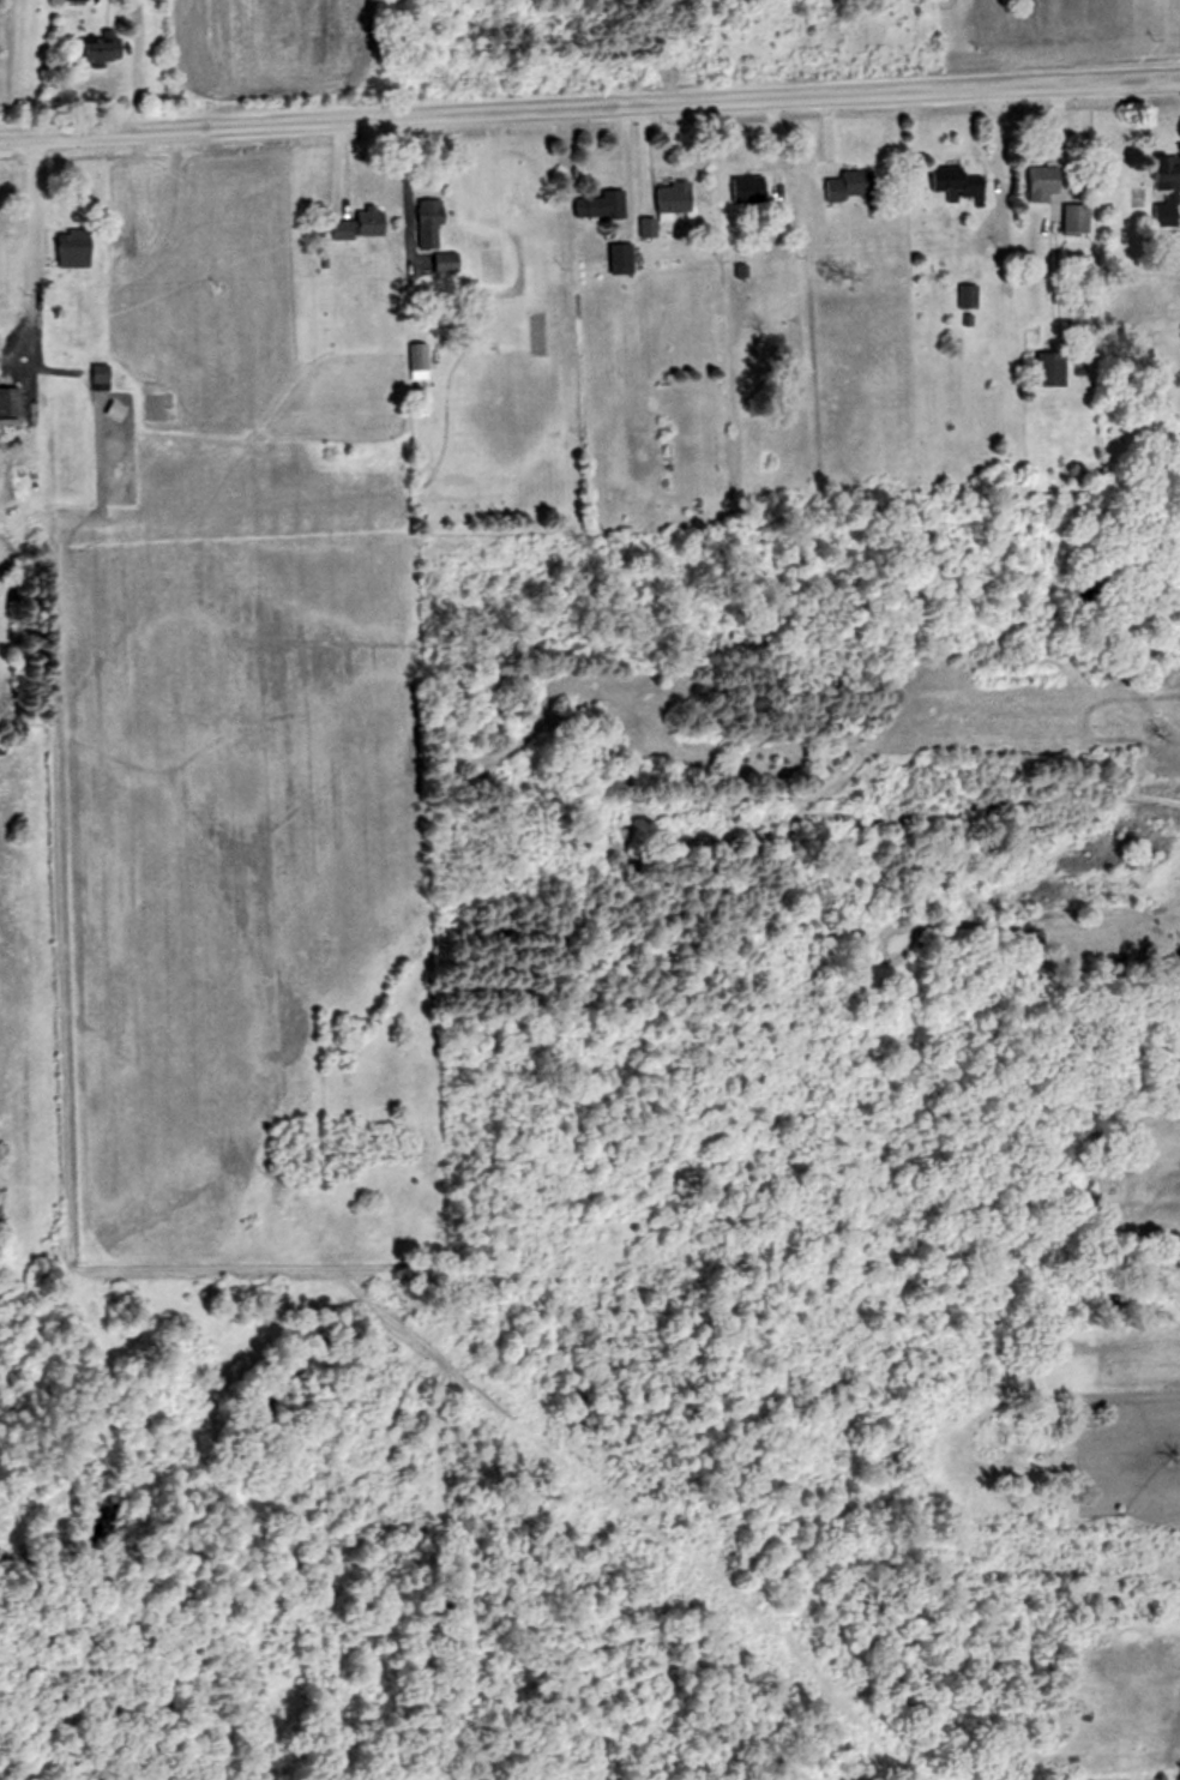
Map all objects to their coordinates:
building: (77, 0)
building: (1179, 2)
building: (104, 50)
road: (589, 104)
building: (955, 182)
building: (1037, 182)
building: (847, 185)
building: (1161, 187)
building: (749, 188)
road: (25, 194)
building: (674, 197)
building: (600, 205)
building: (1073, 220)
building: (363, 222)
building: (431, 223)
building: (78, 247)
building: (624, 258)
building: (963, 295)
building: (421, 355)
building: (1044, 369)
building: (102, 377)
building: (119, 411)

